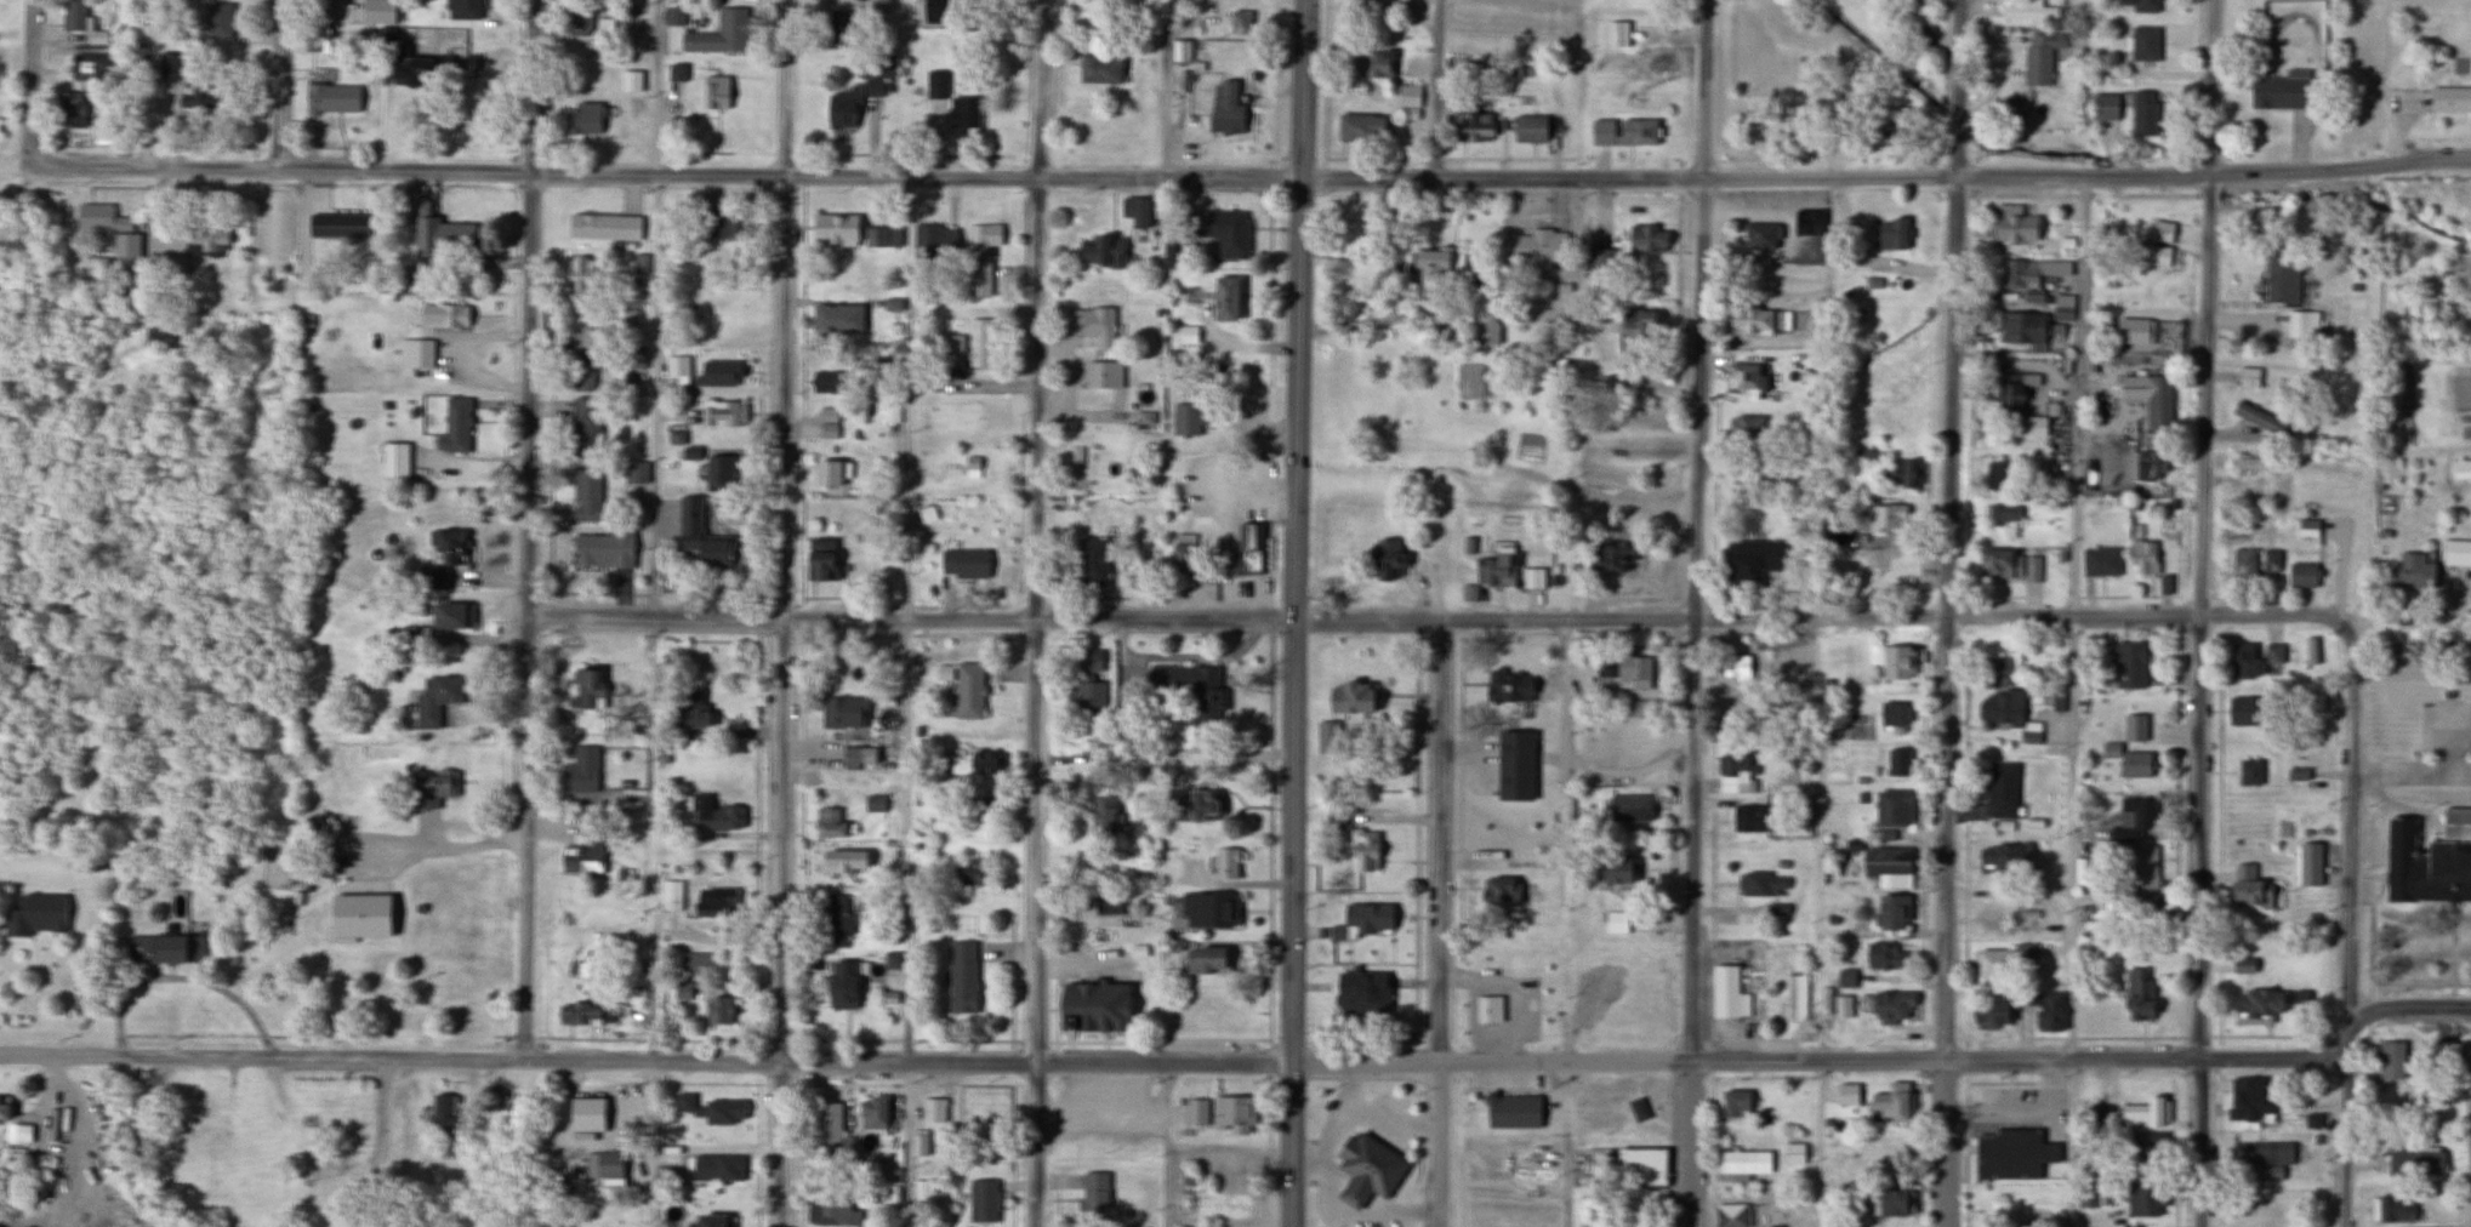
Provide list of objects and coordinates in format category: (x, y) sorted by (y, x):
building: (1097, 1)
building: (1919, 1)
building: (877, 4)
building: (2143, 5)
building: (461, 10)
building: (377, 11)
building: (2027, 11)
building: (673, 16)
building: (217, 21)
building: (82, 22)
building: (580, 23)
building: (1240, 23)
building: (602, 27)
building: (838, 29)
building: (718, 34)
building: (1616, 34)
building: (1918, 34)
building: (386, 35)
building: (2142, 42)
building: (137, 53)
building: (1180, 58)
building: (2036, 59)
building: (1372, 63)
building: (170, 64)
building: (87, 67)
building: (1098, 69)
building: (419, 72)
building: (677, 73)
building: (631, 80)
road: (30, 82)
road: (281, 84)
building: (935, 84)
road: (1436, 89)
building: (714, 91)
building: (2281, 91)
building: (1407, 96)
building: (331, 97)
building: (195, 98)
building: (2449, 98)
building: (1224, 108)
building: (2012, 108)
building: (70, 109)
building: (2142, 113)
building: (962, 114)
building: (583, 118)
building: (1780, 118)
building: (1468, 121)
building: (1357, 127)
building: (1892, 127)
building: (1527, 129)
building: (1636, 131)
building: (1596, 135)
road: (870, 172)
road: (2086, 176)
road: (22, 190)
building: (1134, 212)
building: (99, 218)
building: (717, 223)
building: (2011, 223)
building: (335, 224)
building: (603, 227)
building: (833, 229)
building: (1220, 232)
building: (2160, 232)
building: (1890, 234)
building: (440, 236)
building: (882, 236)
building: (1758, 236)
building: (205, 238)
building: (1646, 239)
building: (926, 241)
building: (1536, 246)
building: (1101, 252)
building: (2147, 255)
building: (977, 259)
building: (1600, 259)
building: (640, 263)
building: (1435, 263)
building: (173, 267)
building: (2019, 275)
building: (2067, 275)
building: (580, 276)
building: (2279, 279)
building: (1224, 298)
road: (656, 308)
road: (786, 308)
building: (443, 315)
building: (836, 318)
building: (1748, 320)
building: (1092, 323)
building: (1634, 324)
building: (2301, 324)
building: (1486, 329)
building: (2022, 329)
building: (2131, 330)
building: (1185, 335)
building: (158, 337)
building: (964, 346)
building: (576, 347)
building: (414, 353)
building: (677, 365)
building: (718, 372)
building: (2248, 376)
building: (1742, 378)
building: (1092, 379)
building: (583, 381)
building: (821, 381)
building: (2014, 389)
building: (2154, 403)
building: (722, 412)
building: (1186, 420)
building: (2260, 420)
building: (2029, 426)
building: (454, 427)
building: (585, 427)
building: (1746, 429)
building: (394, 460)
building: (2254, 463)
building: (2147, 466)
building: (2460, 469)
building: (1746, 470)
building: (633, 472)
building: (719, 473)
building: (830, 473)
building: (1903, 473)
building: (1997, 475)
building: (585, 495)
building: (2003, 515)
building: (1886, 519)
building: (2306, 529)
road: (526, 530)
road: (1040, 531)
building: (698, 533)
building: (600, 550)
building: (1247, 552)
building: (2455, 553)
building: (444, 557)
building: (1609, 558)
building: (1180, 559)
building: (1752, 559)
building: (2142, 559)
building: (819, 560)
building: (1384, 560)
building: (2270, 560)
building: (1091, 561)
building: (2100, 563)
building: (2243, 563)
building: (962, 564)
building: (2006, 566)
building: (1493, 571)
building: (2409, 572)
building: (2300, 576)
building: (1532, 580)
road: (1294, 612)
road: (1696, 612)
road: (1947, 612)
road: (2203, 613)
building: (451, 617)
road: (1111, 618)
road: (2096, 618)
building: (2272, 654)
building: (1088, 661)
building: (2243, 662)
building: (1894, 663)
building: (2129, 666)
building: (1737, 667)
building: (1998, 672)
building: (1623, 673)
building: (583, 687)
building: (1189, 687)
building: (1505, 689)
building: (967, 691)
building: (1350, 698)
building: (433, 701)
building: (1088, 701)
building: (2312, 702)
building: (1999, 709)
building: (688, 712)
building: (2242, 712)
building: (842, 713)
building: (1894, 714)
building: (2031, 734)
building: (1634, 741)
building: (852, 755)
building: (977, 763)
building: (1897, 764)
building: (2135, 765)
building: (1513, 767)
building: (580, 771)
building: (1735, 774)
building: (2248, 774)
building: (429, 789)
building: (2002, 792)
building: (873, 804)
building: (1192, 806)
building: (1628, 810)
building: (1891, 810)
building: (1100, 816)
building: (711, 817)
building: (1747, 820)
building: (2133, 820)
building: (832, 826)
road: (1270, 837)
road: (1461, 838)
road: (1417, 839)
road: (1924, 841)
building: (1363, 850)
building: (2004, 858)
building: (2430, 858)
building: (579, 861)
building: (841, 863)
building: (1224, 863)
building: (1886, 866)
building: (2308, 866)
building: (2142, 868)
building: (968, 872)
building: (1615, 872)
building: (1763, 886)
building: (2248, 889)
building: (331, 891)
building: (1493, 894)
building: (670, 896)
building: (1105, 901)
building: (714, 903)
building: (2029, 908)
building: (2145, 908)
building: (1207, 912)
building: (1891, 914)
building: (35, 917)
road: (780, 921)
building: (835, 921)
building: (1361, 921)
road: (1439, 921)
building: (1989, 921)
road: (906, 923)
building: (1615, 924)
building: (2021, 925)
road: (2, 929)
road: (2350, 931)
building: (153, 951)
building: (1883, 957)
building: (1206, 960)
building: (2000, 960)
building: (693, 965)
building: (2242, 966)
building: (960, 978)
building: (1844, 980)
road: (187, 981)
building: (841, 986)
building: (442, 988)
building: (681, 992)
building: (1359, 993)
building: (1727, 995)
building: (2139, 997)
building: (1794, 999)
building: (1091, 1004)
building: (1841, 1008)
building: (2255, 1008)
building: (1891, 1009)
road: (2409, 1009)
building: (2045, 1010)
building: (717, 1011)
building: (1988, 1011)
building: (575, 1015)
road: (653, 1037)
road: (1156, 1037)
road: (779, 1039)
road: (907, 1039)
road: (1502, 1039)
road: (1035, 1040)
road: (1360, 1040)
road: (1437, 1040)
road: (1287, 1041)
building: (2437, 1050)
road: (1270, 1057)
road: (1461, 1058)
road: (1923, 1058)
road: (2020, 1061)
building: (2391, 1061)
road: (846, 1063)
road: (2004, 1080)
building: (1846, 1095)
building: (489, 1101)
building: (2247, 1101)
building: (1892, 1103)
building: (1737, 1105)
building: (1510, 1109)
building: (708, 1111)
building: (1598, 1111)
building: (1639, 1111)
building: (0, 1112)
building: (932, 1112)
building: (442, 1113)
building: (1195, 1113)
building: (870, 1114)
building: (1231, 1114)
building: (2145, 1114)
building: (2312, 1122)
building: (829, 1128)
road: (2072, 1143)
road: (650, 1145)
building: (918, 1145)
road: (1035, 1145)
road: (1166, 1145)
road: (1565, 1145)
road: (383, 1147)
road: (1923, 1147)
building: (2143, 1147)
road: (1461, 1148)
road: (1269, 1149)
road: (1968, 1149)
building: (2011, 1153)
building: (1794, 1154)
building: (1226, 1159)
building: (2262, 1159)
road: (1323, 1160)
building: (1746, 1160)
building: (2414, 1160)
building: (321, 1165)
building: (607, 1165)
building: (1641, 1165)
building: (717, 1169)
building: (1366, 1169)
road: (1355, 1187)
building: (2089, 1195)
building: (887, 1198)
building: (1093, 1198)
building: (981, 1202)
building: (2143, 1202)
building: (1890, 1204)
road: (1057, 1206)
road: (1401, 1208)
building: (830, 1211)
building: (2391, 1211)
building: (2258, 1214)
building: (1731, 1216)
building: (1634, 1220)
building: (710, 1221)

